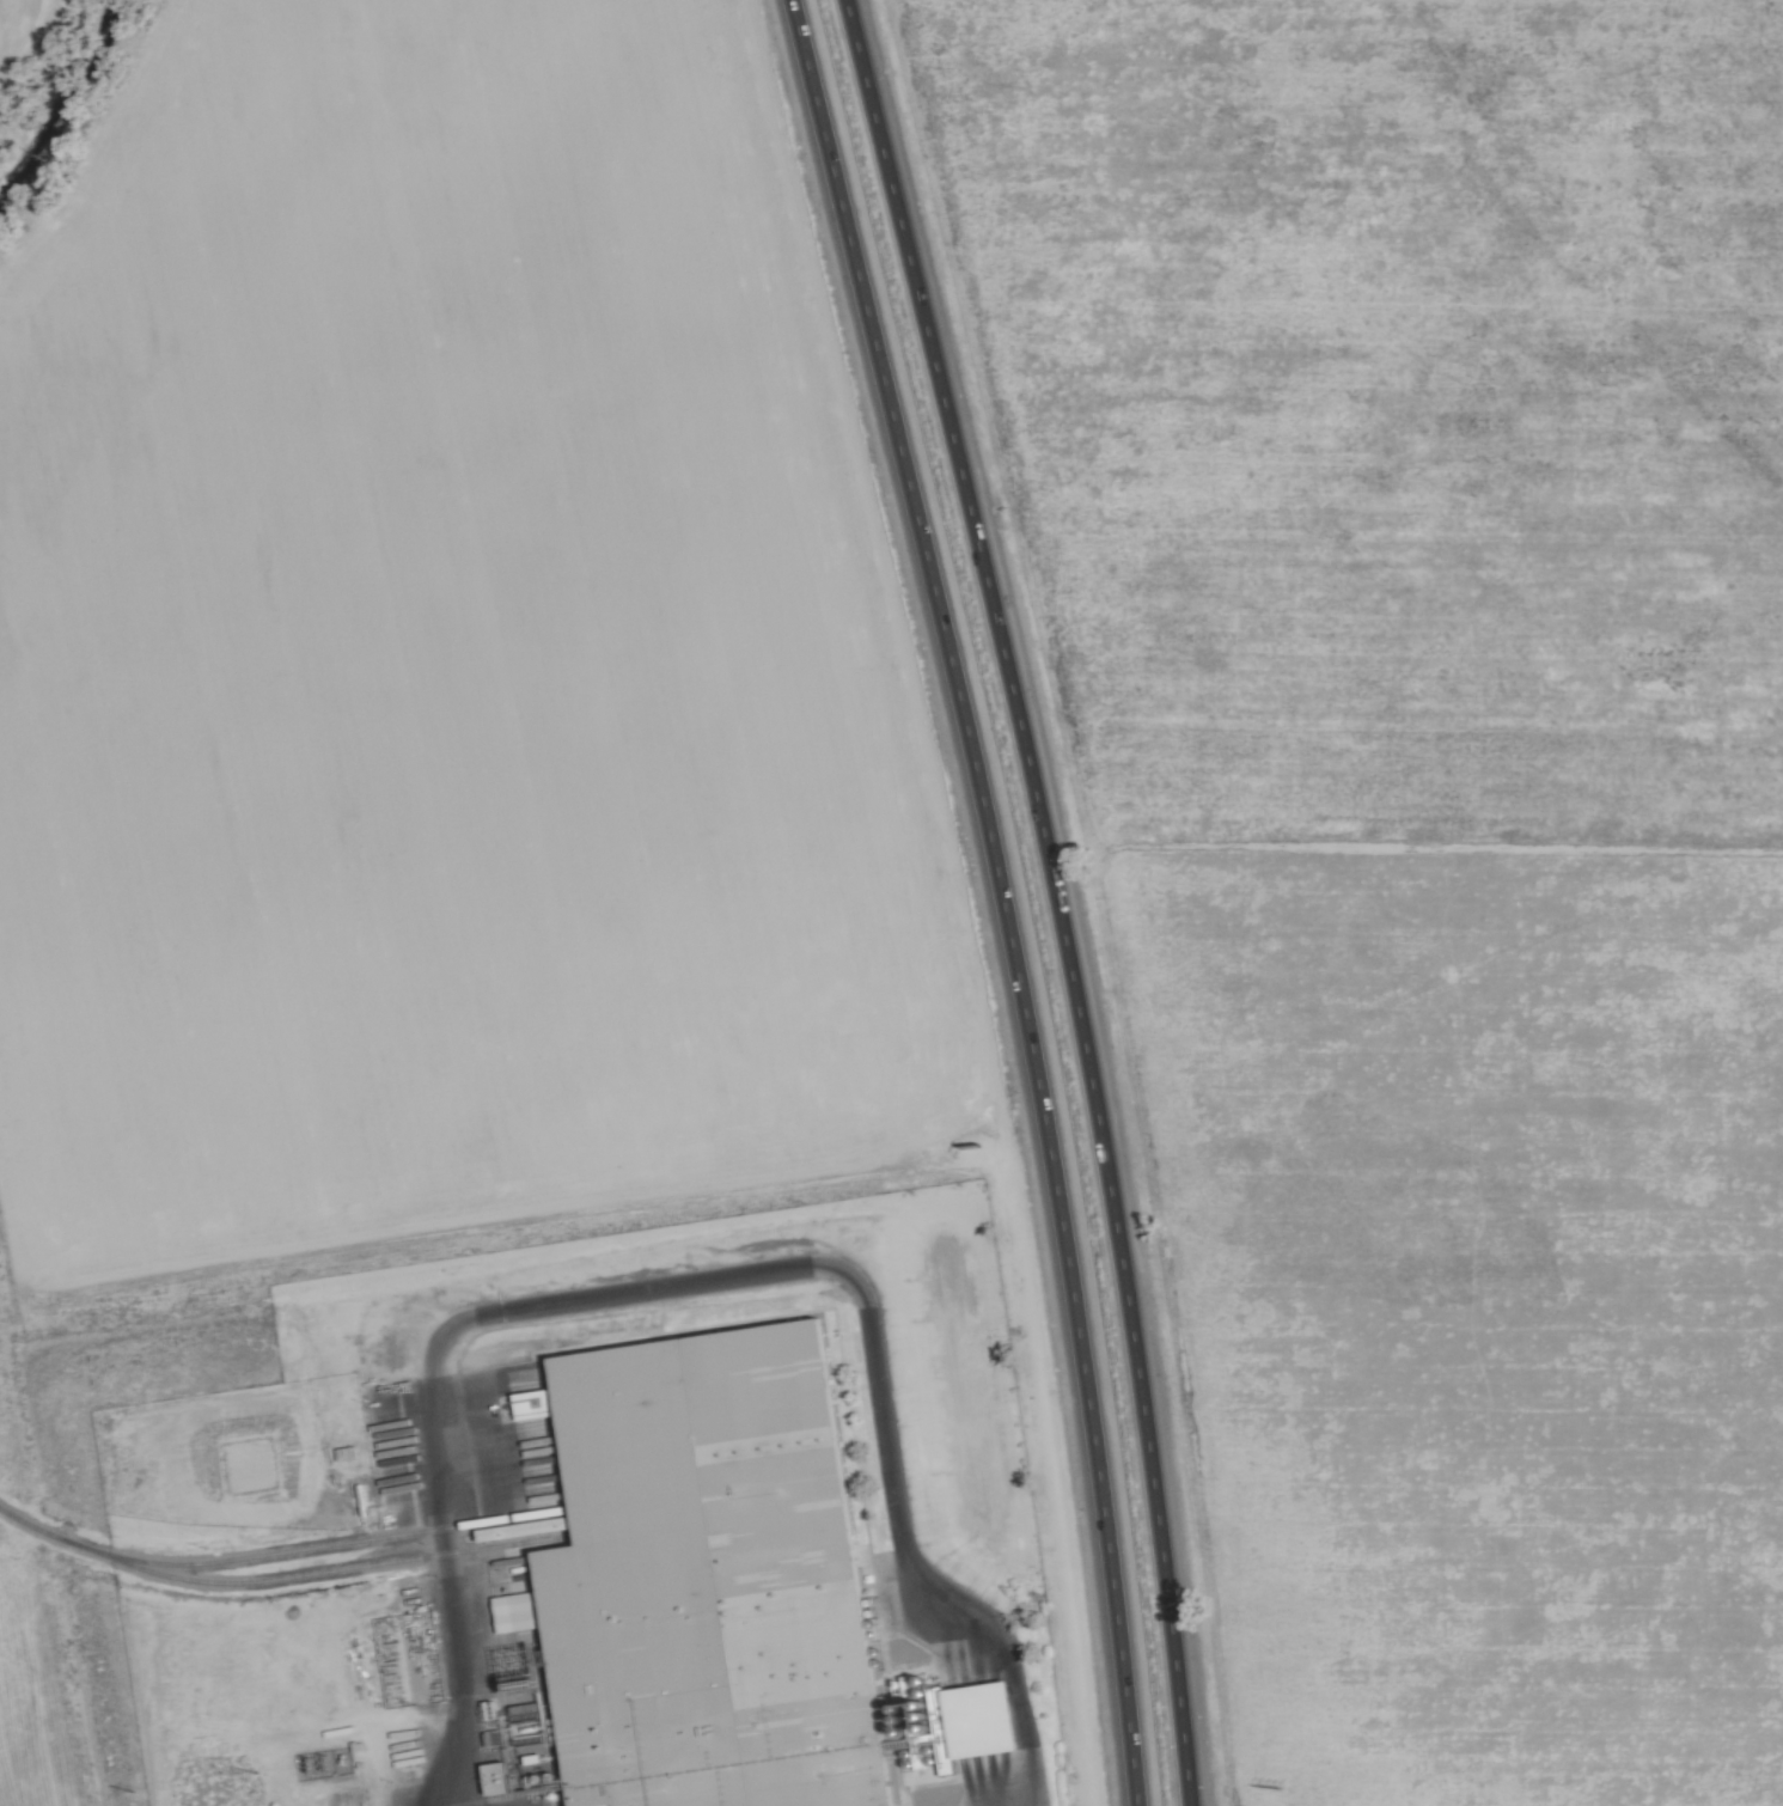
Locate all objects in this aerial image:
crop: (1394, 844)
road: (1411, 850)
road: (1055, 895)
road: (1001, 896)
road: (704, 1281)
railway: (326, 1546)
railway: (274, 1579)
building: (706, 1582)
building: (975, 1720)

